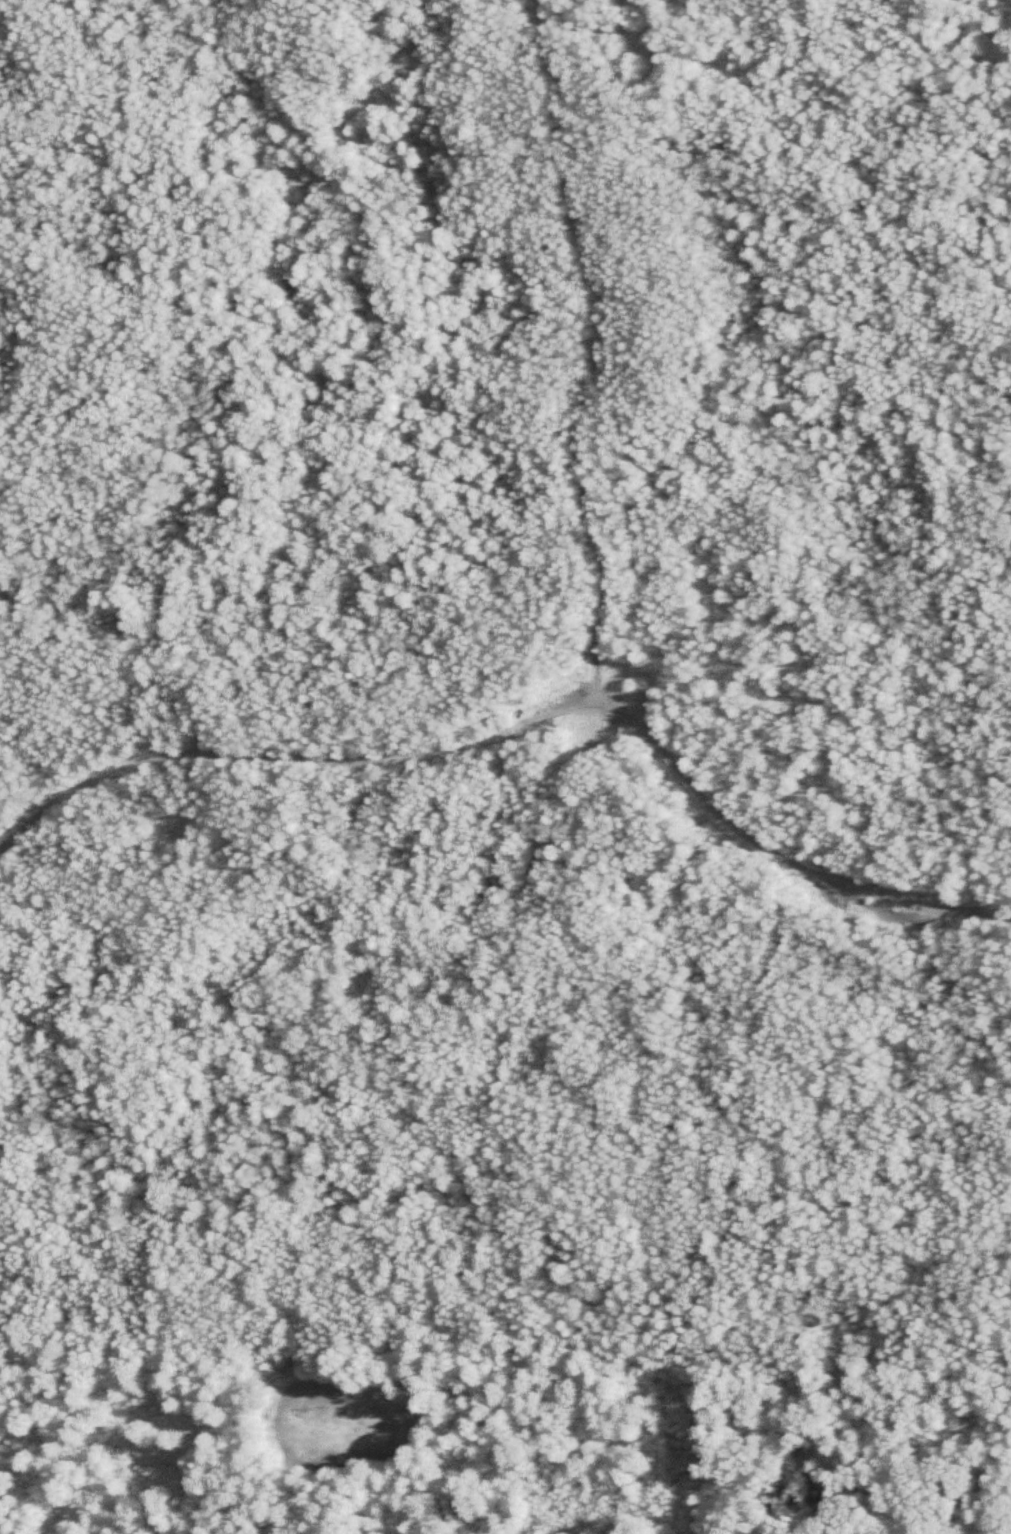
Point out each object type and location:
road: (519, 727)

